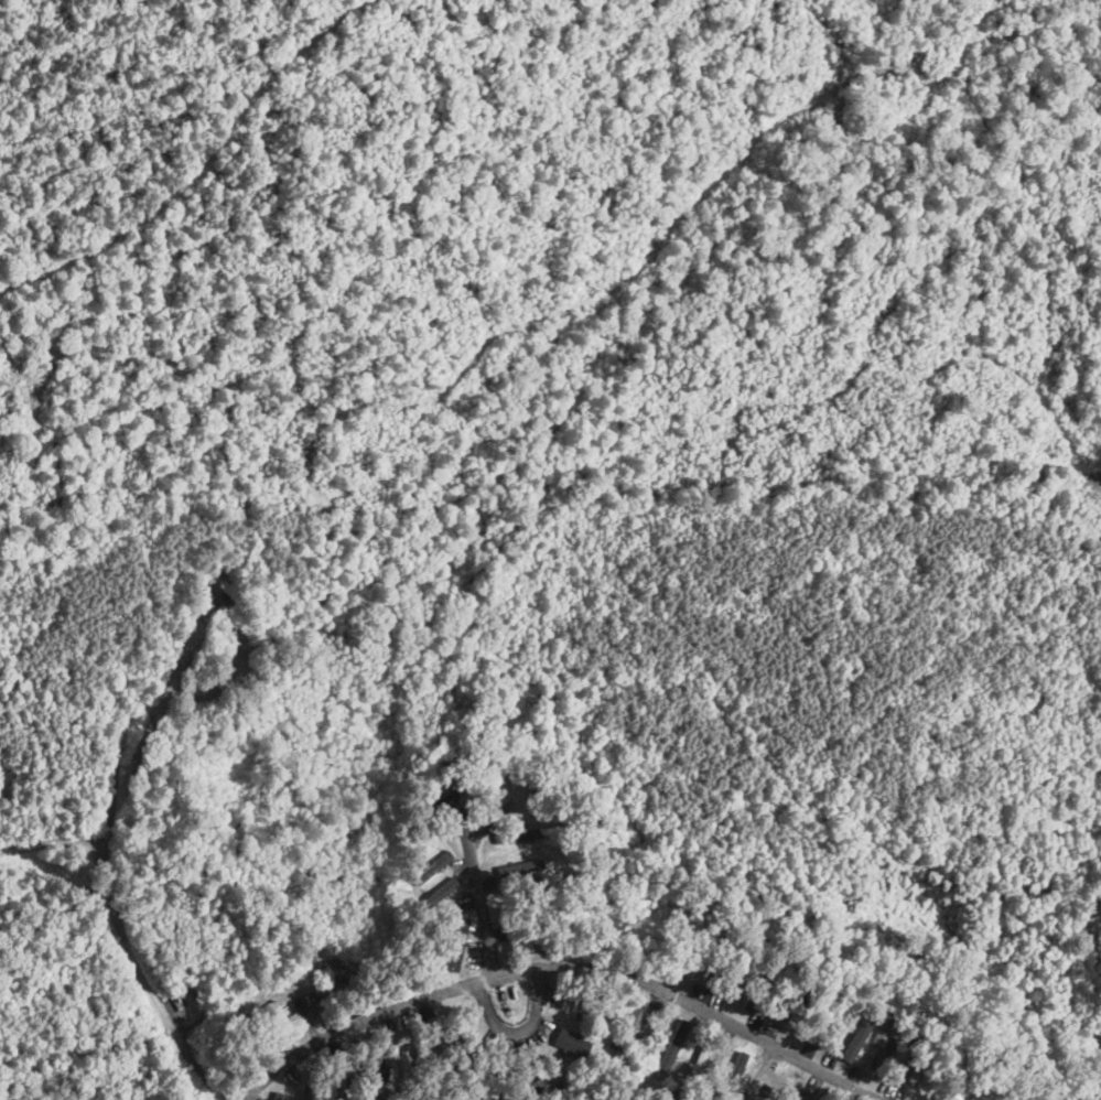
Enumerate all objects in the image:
building: (226, 595)
road: (120, 752)
building: (427, 812)
building: (517, 833)
road: (50, 840)
building: (430, 860)
building: (432, 866)
building: (520, 867)
road: (473, 896)
building: (449, 941)
road: (554, 968)
building: (338, 969)
building: (762, 975)
road: (144, 982)
building: (179, 1003)
building: (256, 1016)
road: (517, 1027)
building: (572, 1040)
building: (673, 1043)
building: (1100, 1044)
building: (884, 1047)
building: (431, 1050)
building: (699, 1061)
building: (914, 1066)
building: (407, 1068)
building: (735, 1069)
building: (500, 1074)
road: (764, 1076)
building: (375, 1080)
building: (542, 1086)
building: (344, 1087)
building: (280, 1096)
building: (812, 1096)
building: (305, 1098)

